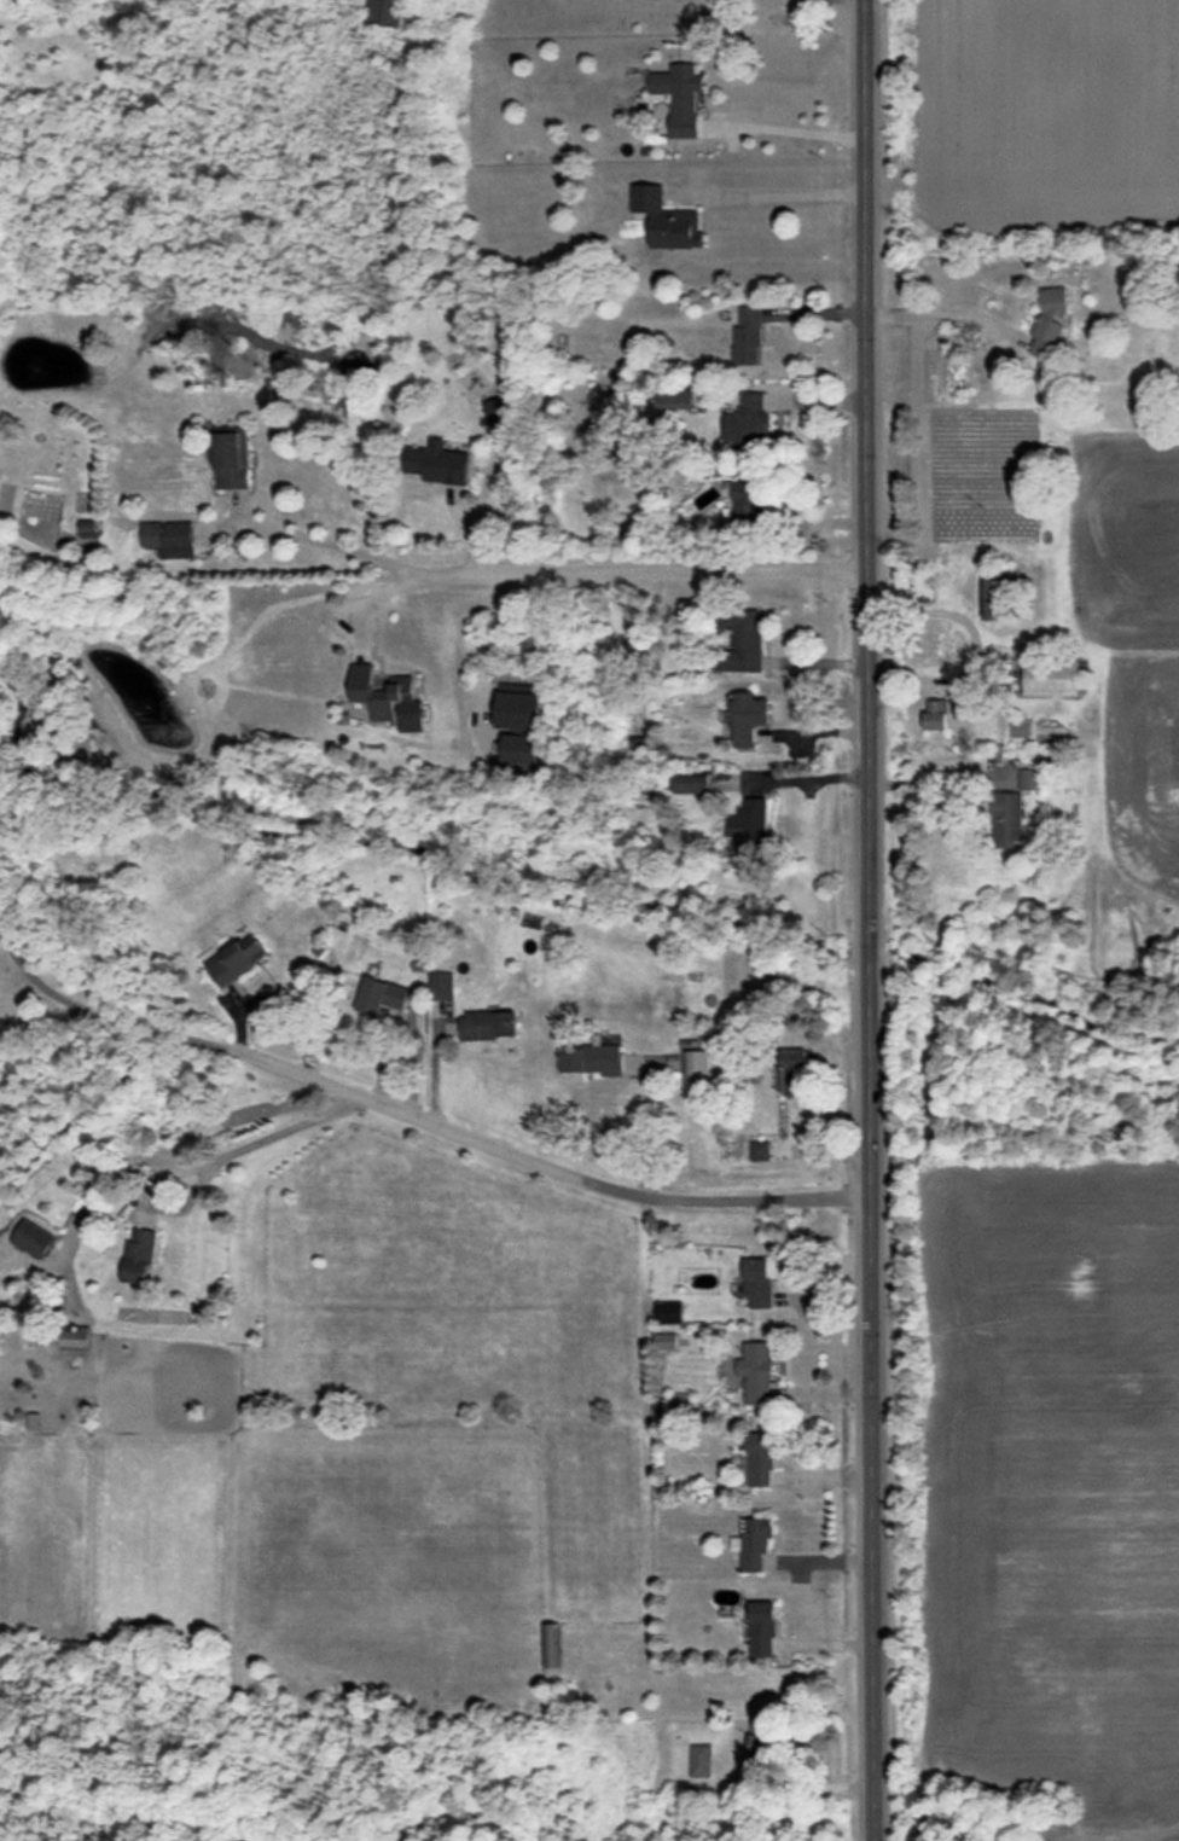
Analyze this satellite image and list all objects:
building: (384, 12)
building: (680, 97)
road: (785, 129)
road: (771, 193)
building: (667, 219)
road: (939, 315)
building: (1050, 321)
building: (747, 336)
building: (676, 397)
building: (495, 412)
building: (231, 459)
building: (437, 463)
building: (744, 500)
building: (87, 524)
building: (169, 539)
road: (325, 540)
road: (634, 569)
building: (995, 599)
building: (740, 641)
road: (977, 646)
road: (489, 650)
building: (1051, 678)
building: (378, 691)
building: (518, 710)
building: (936, 714)
building: (411, 716)
building: (747, 716)
building: (521, 748)
road: (796, 778)
building: (1030, 779)
building: (691, 784)
road: (931, 784)
building: (1007, 820)
building: (749, 827)
road: (870, 919)
building: (236, 959)
building: (441, 985)
building: (382, 999)
road: (47, 1016)
building: (488, 1026)
building: (592, 1059)
building: (698, 1070)
building: (791, 1074)
road: (420, 1117)
road: (646, 1134)
road: (249, 1143)
building: (759, 1150)
building: (34, 1238)
building: (138, 1256)
building: (757, 1282)
building: (668, 1312)
building: (75, 1340)
building: (666, 1341)
building: (756, 1372)
building: (760, 1459)
building: (754, 1543)
building: (762, 1628)
building: (551, 1645)
building: (701, 1760)

